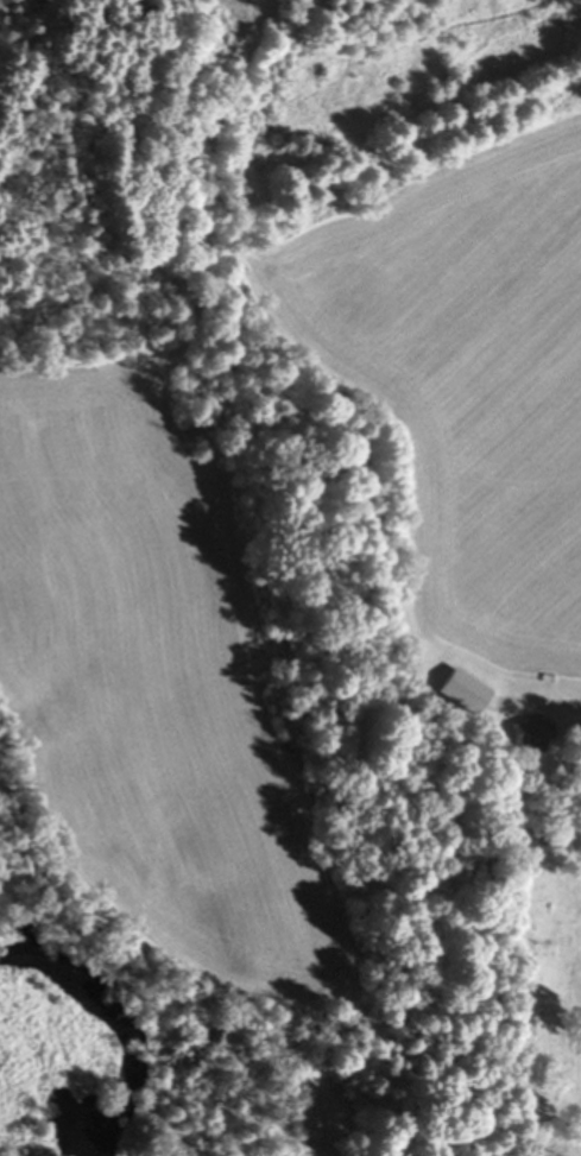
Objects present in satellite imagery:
road: (555, 707)
river: (119, 1023)

